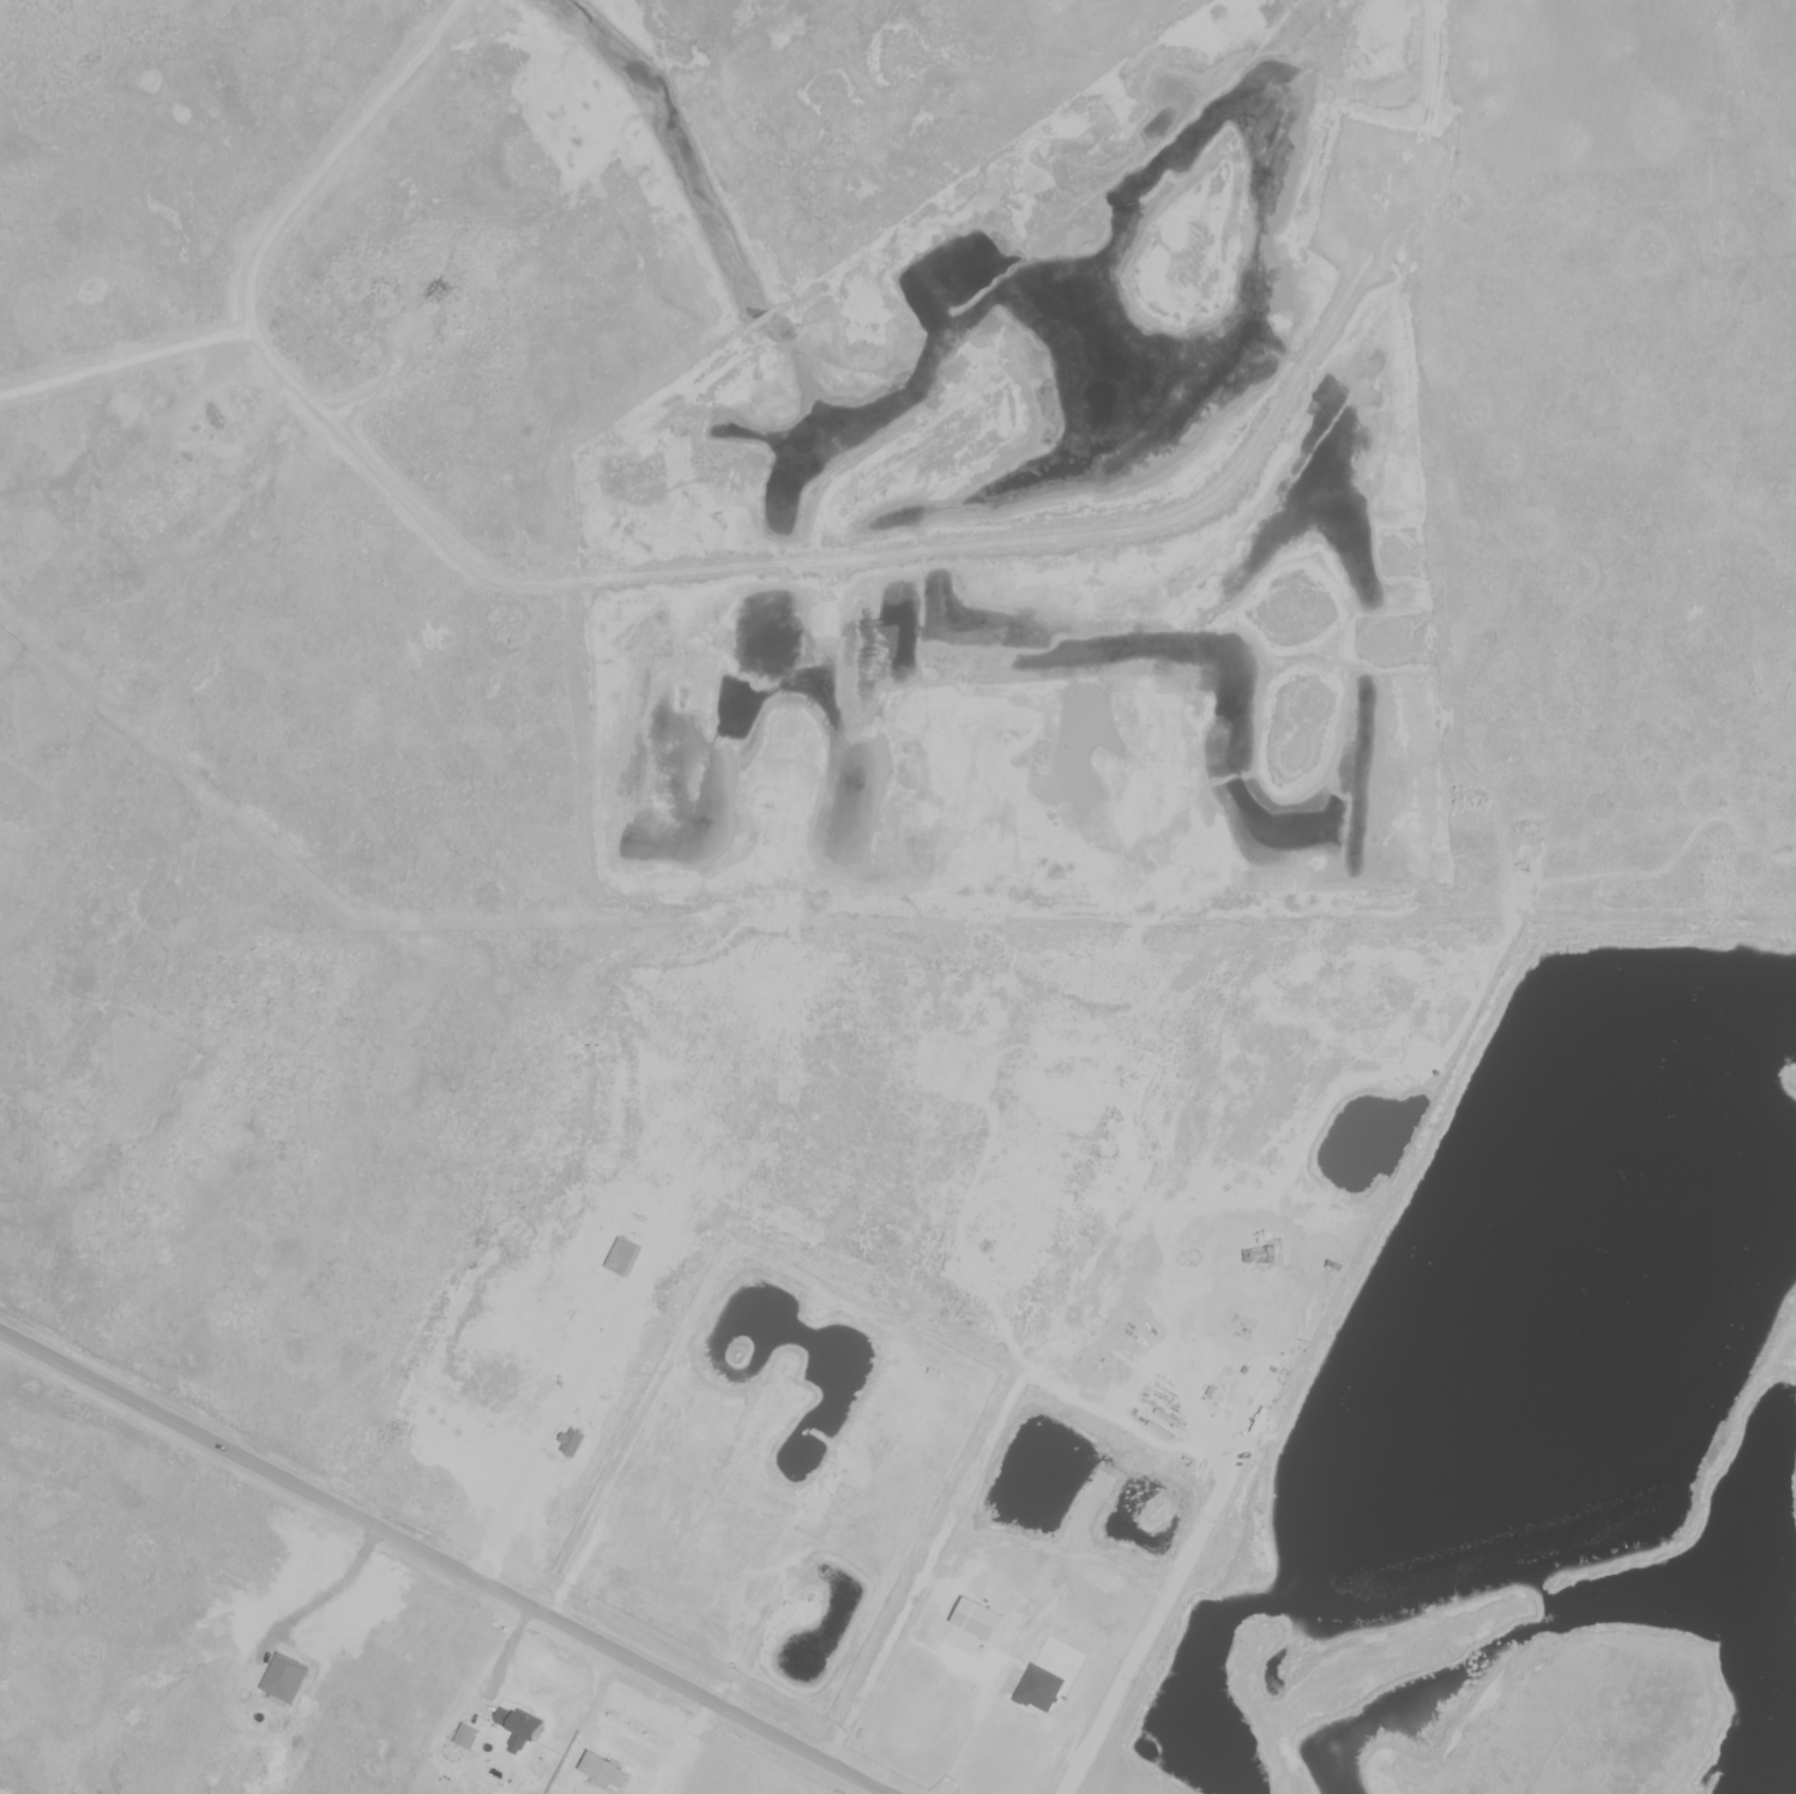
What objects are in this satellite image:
building: (440, 287)
building: (1259, 1258)
road: (1201, 1527)
road: (441, 1564)
road: (332, 1588)
building: (1038, 1692)
road: (975, 1730)
building: (607, 1775)
road: (878, 1793)

